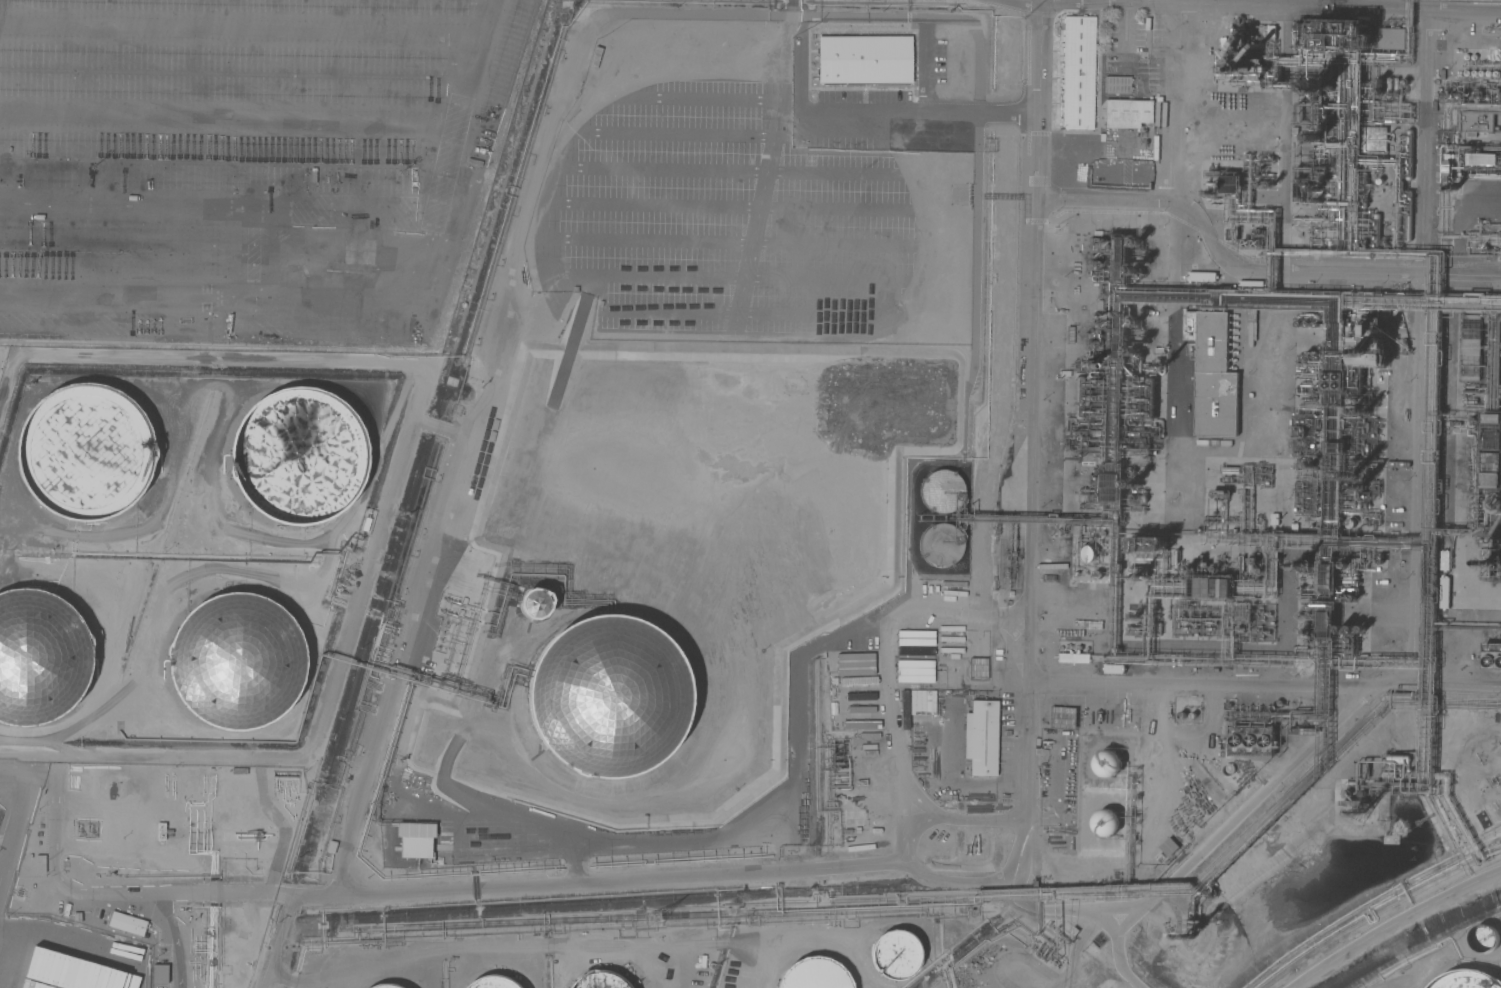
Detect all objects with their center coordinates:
road: (1043, 2)
road: (1164, 3)
road: (1257, 9)
building: (1392, 38)
building: (1463, 39)
building: (863, 59)
building: (1240, 65)
building: (1077, 72)
building: (1116, 85)
road: (229, 94)
road: (1169, 104)
road: (885, 109)
building: (1131, 114)
building: (1475, 123)
building: (1374, 139)
building: (1075, 154)
building: (1408, 154)
building: (1482, 159)
building: (1363, 190)
road: (546, 196)
road: (325, 207)
building: (1407, 216)
road: (753, 231)
building: (1376, 231)
road: (1256, 266)
building: (1201, 275)
railway: (1005, 324)
railway: (1000, 338)
railway: (1009, 339)
building: (1472, 347)
building: (1368, 351)
building: (1400, 354)
building: (1212, 373)
building: (1077, 398)
road: (1032, 436)
building: (1492, 451)
building: (84, 452)
building: (298, 456)
building: (941, 491)
building: (940, 544)
building: (1085, 553)
building: (1444, 560)
building: (1491, 565)
building: (535, 603)
road: (948, 614)
building: (619, 617)
building: (615, 641)
building: (1491, 656)
building: (40, 657)
building: (235, 661)
building: (854, 664)
road: (886, 682)
building: (914, 702)
building: (981, 737)
building: (1252, 740)
building: (939, 759)
building: (1107, 763)
building: (1227, 769)
road: (903, 774)
road: (1253, 816)
building: (1106, 822)
building: (414, 840)
building: (1167, 846)
road: (903, 848)
building: (40, 864)
road: (398, 892)
building: (127, 924)
building: (1485, 938)
building: (894, 954)
road: (1113, 955)
building: (63, 974)
building: (158, 974)
building: (813, 975)
building: (1467, 979)
building: (598, 980)
building: (491, 982)
building: (385, 986)
building: (400, 987)

